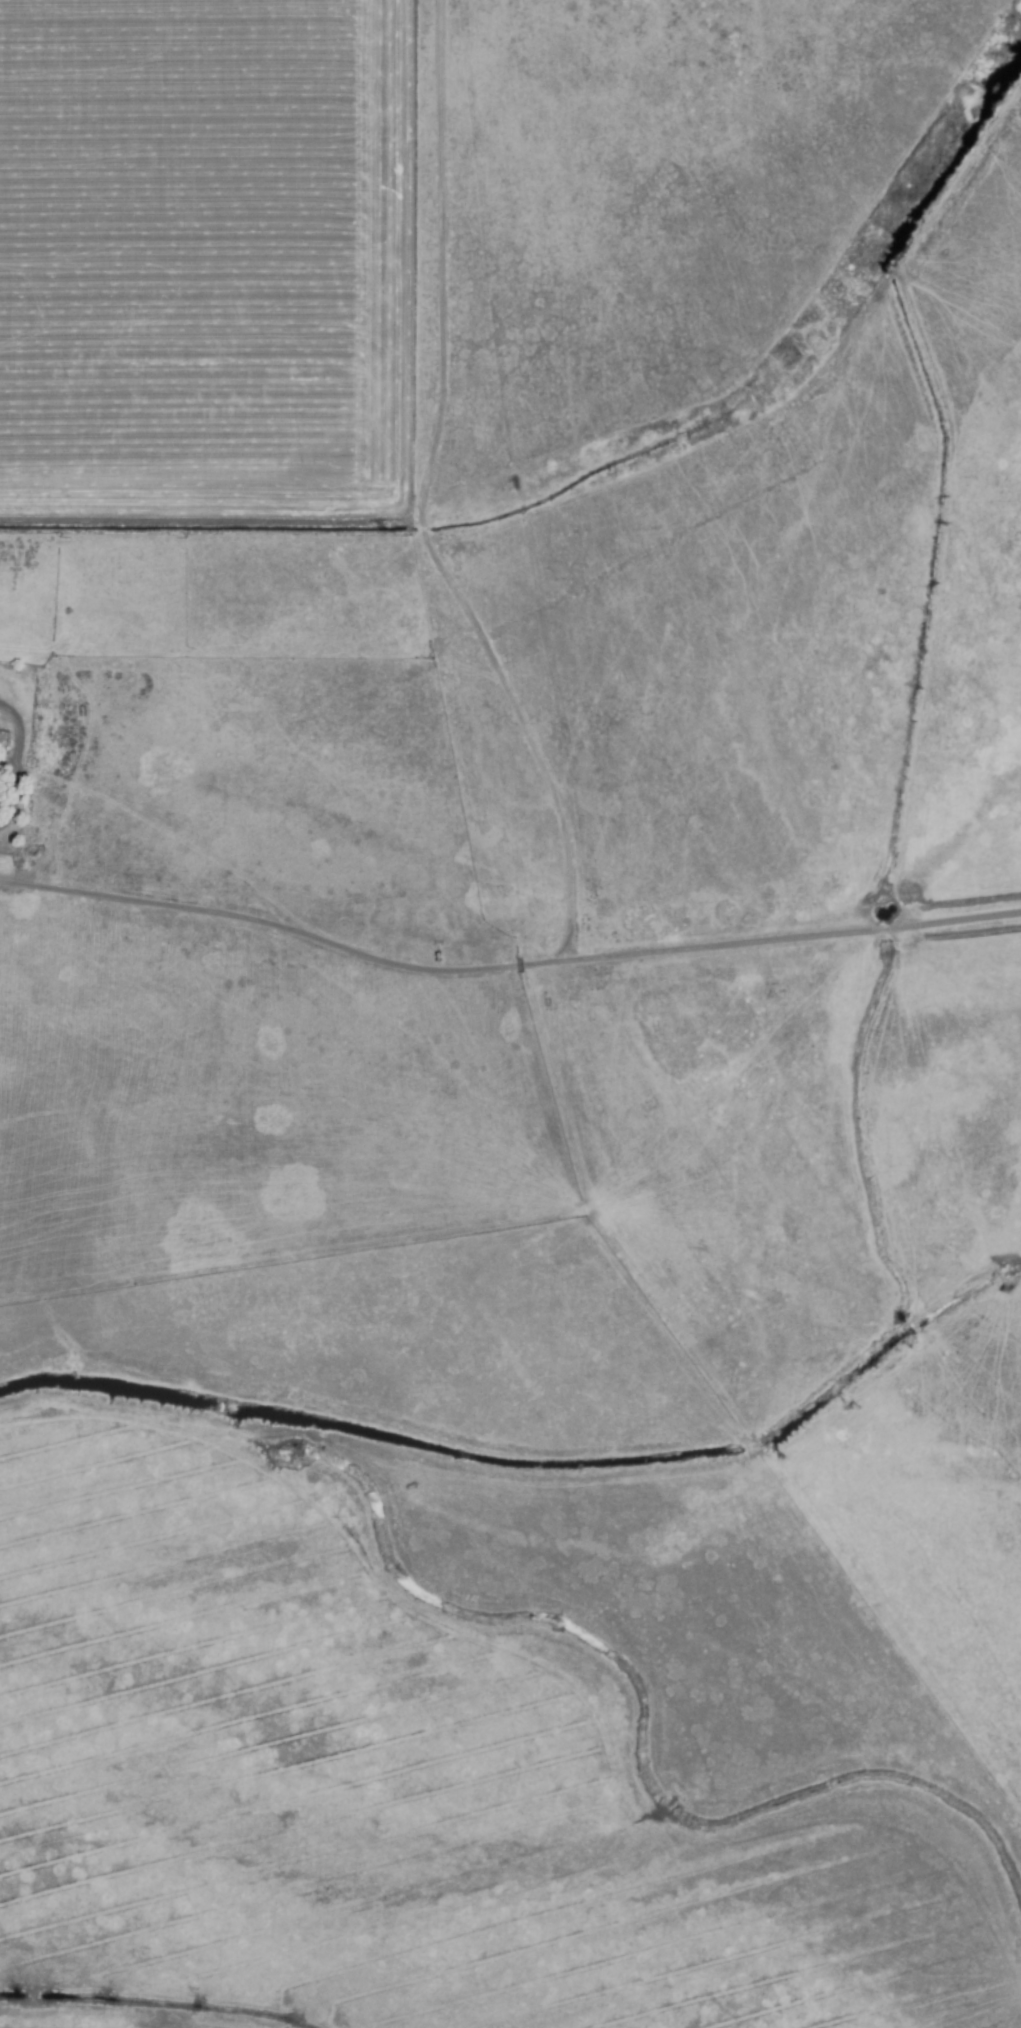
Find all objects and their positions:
road: (15, 730)
road: (45, 887)

